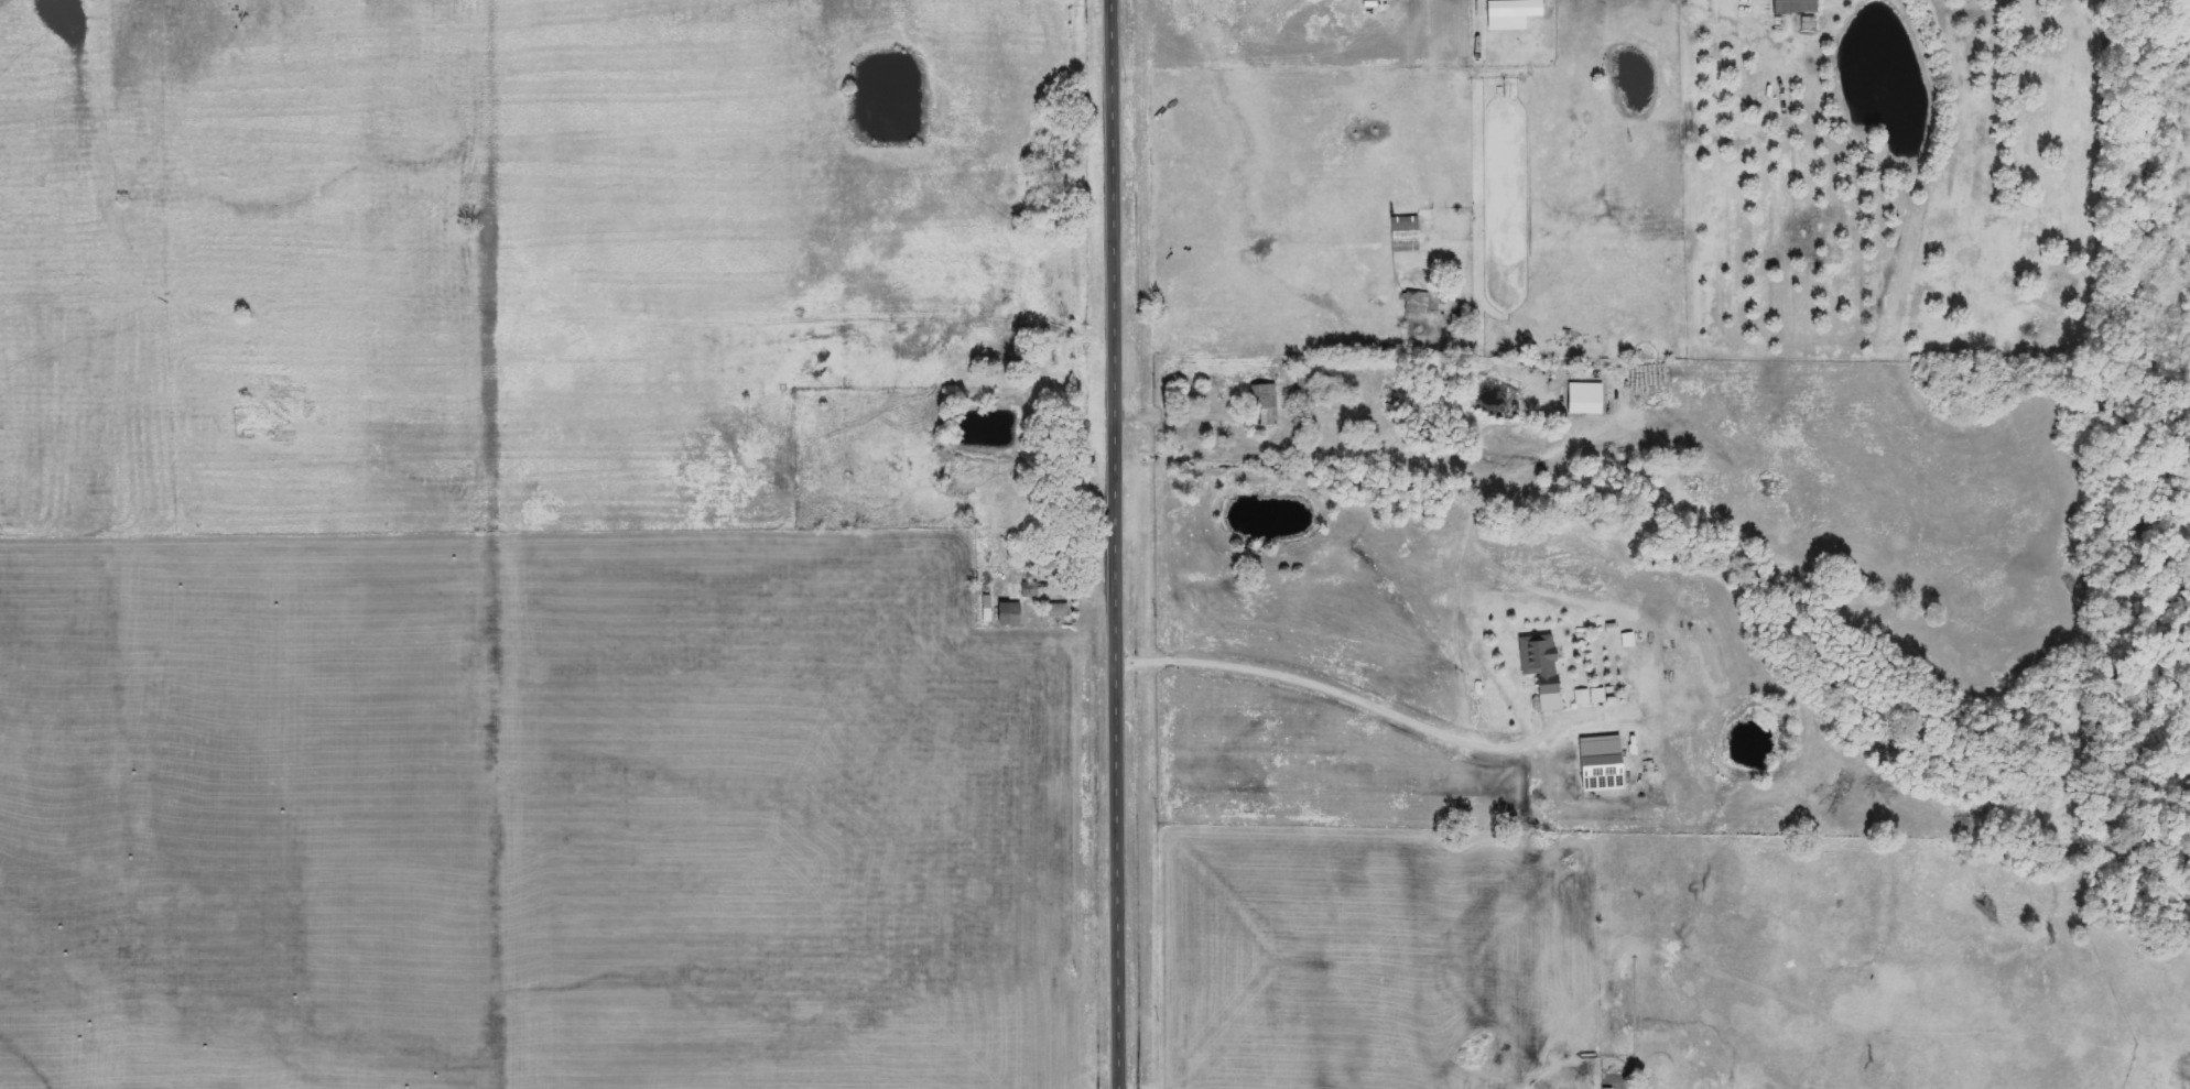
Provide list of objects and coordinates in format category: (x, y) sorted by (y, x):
building: (1798, 6)
building: (1515, 13)
building: (1418, 302)
building: (1304, 385)
building: (1587, 399)
building: (1267, 404)
road: (1115, 544)
building: (988, 609)
building: (1060, 610)
building: (1012, 614)
building: (1543, 668)
road: (1340, 690)
building: (1591, 696)
building: (1604, 764)
building: (1612, 1088)

